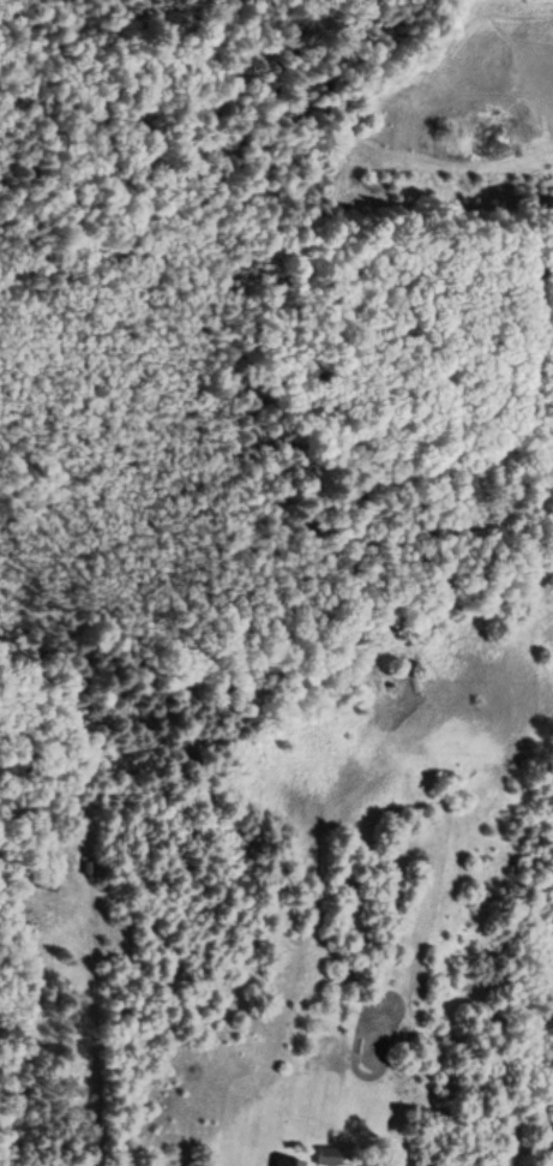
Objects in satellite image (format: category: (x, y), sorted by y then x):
building: (44, 883)
building: (325, 1156)
building: (285, 1162)

